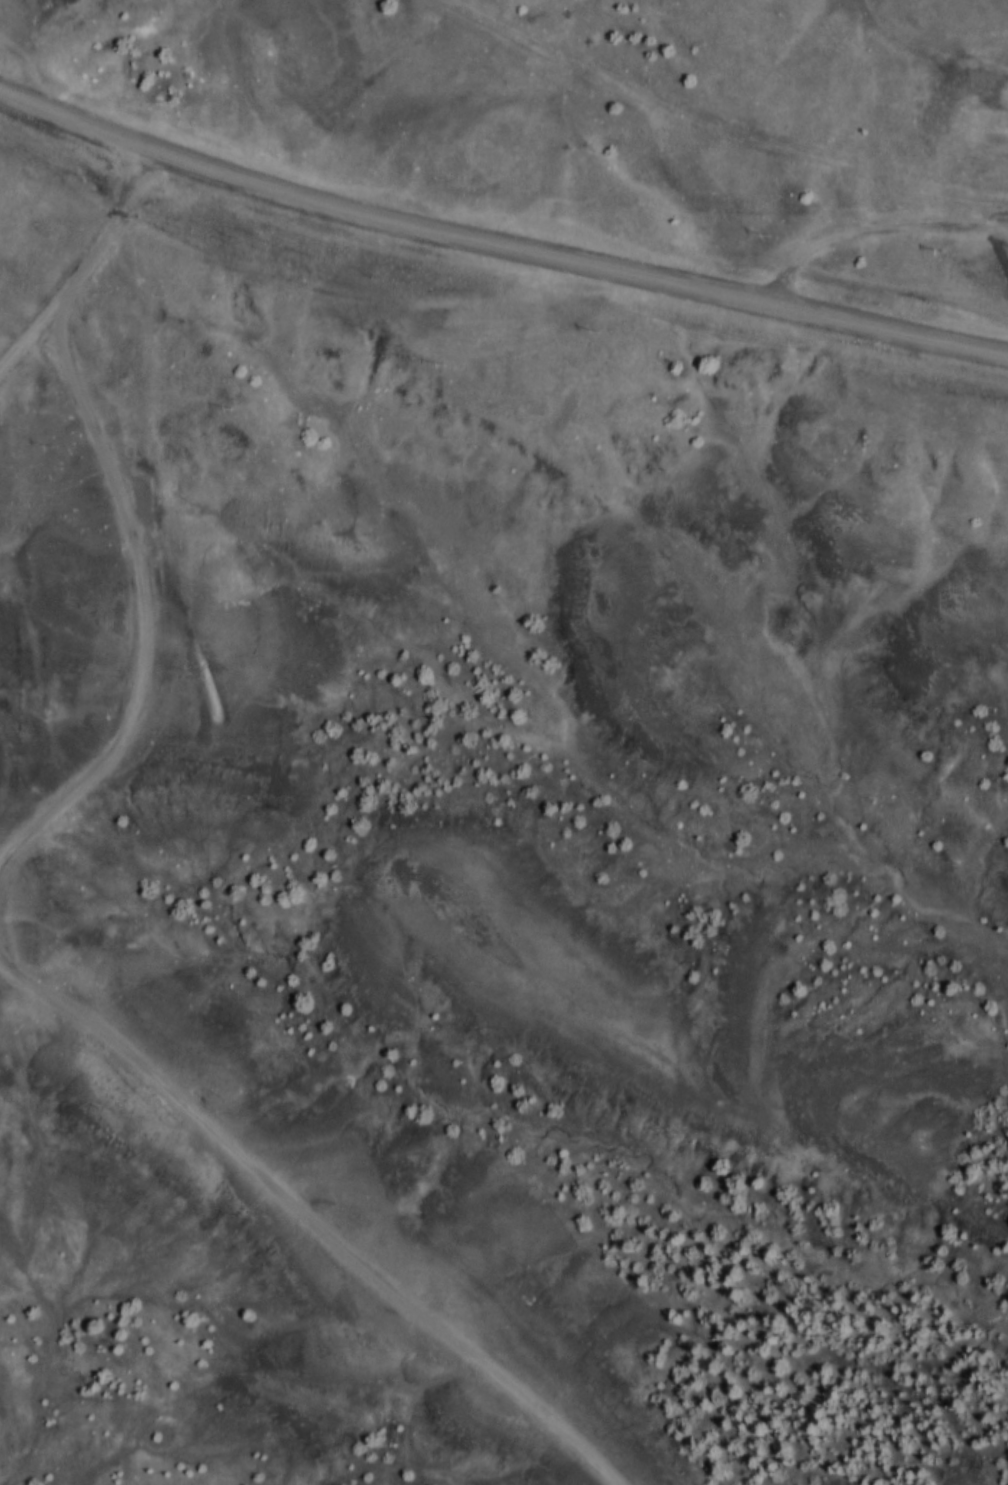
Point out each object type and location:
road: (23, 65)
road: (151, 167)
road: (997, 221)
road: (876, 230)
road: (498, 241)
road: (86, 264)
road: (47, 337)
road: (138, 598)
road: (311, 1219)

